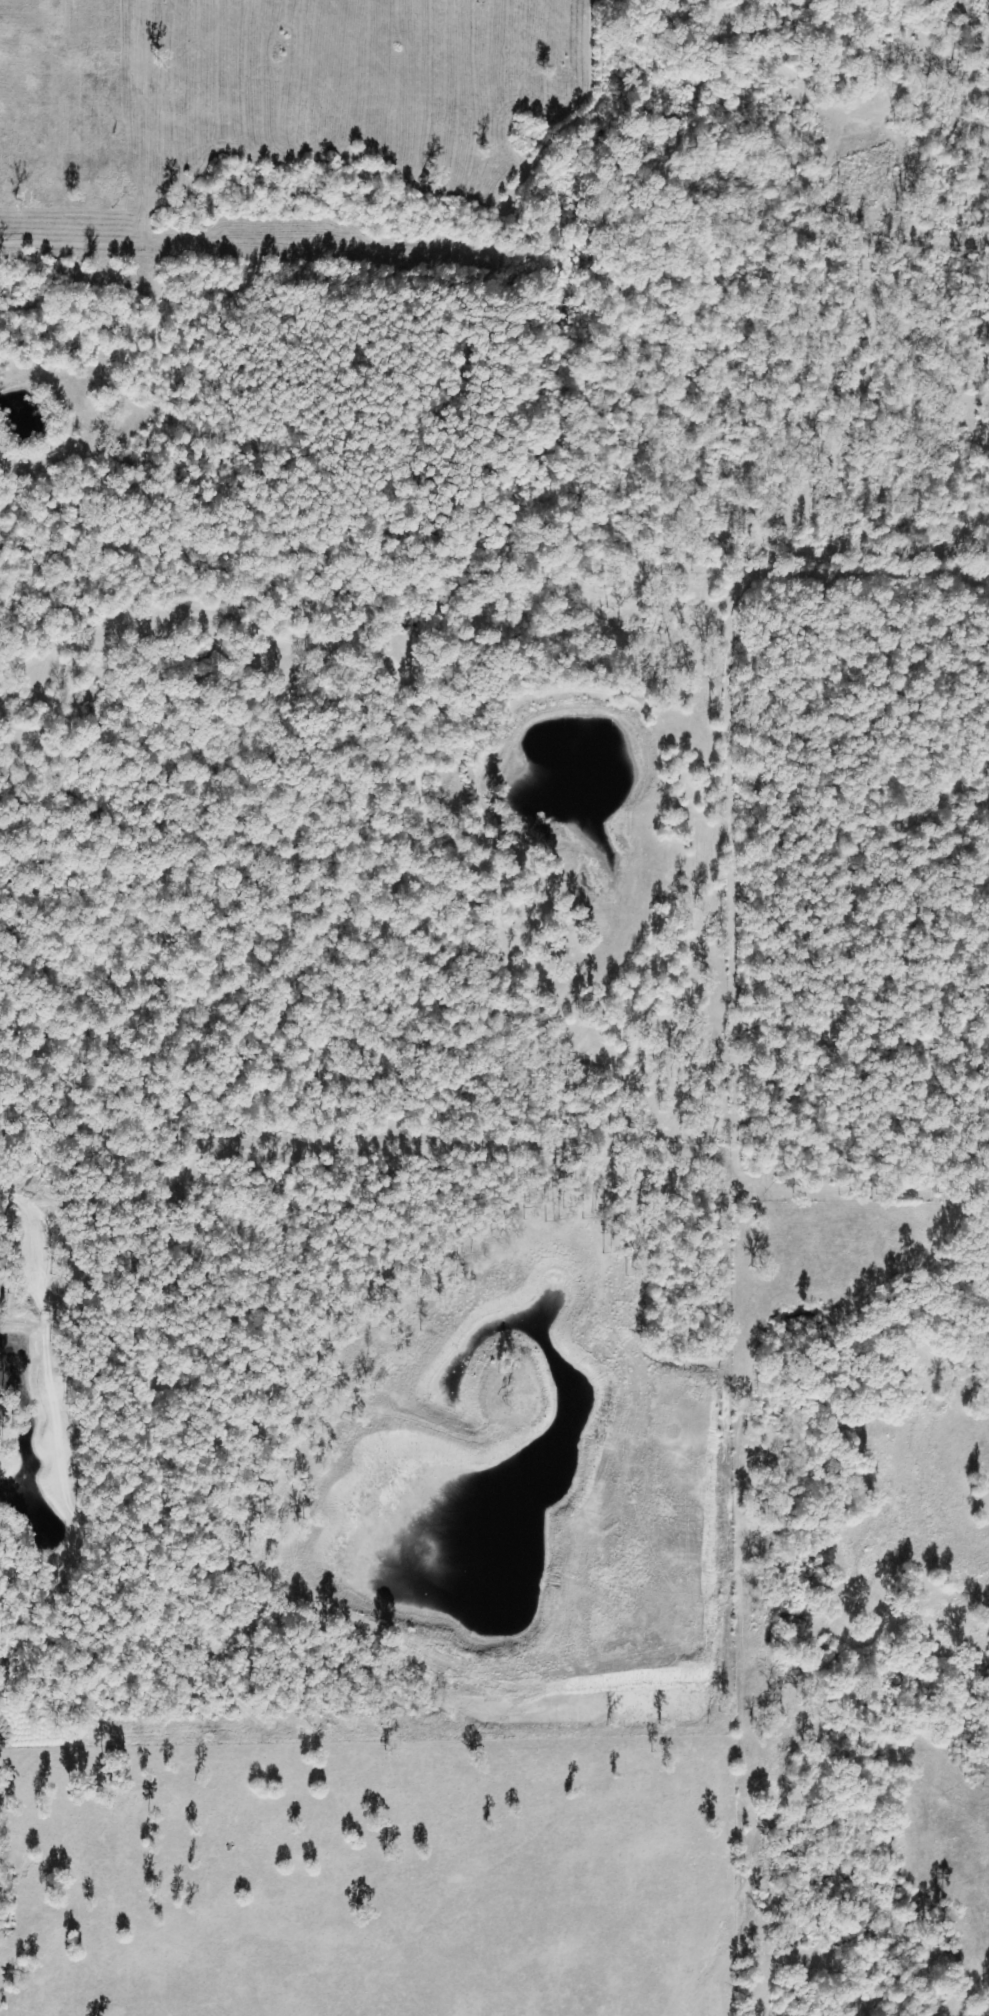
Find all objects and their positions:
road: (126, 1530)

